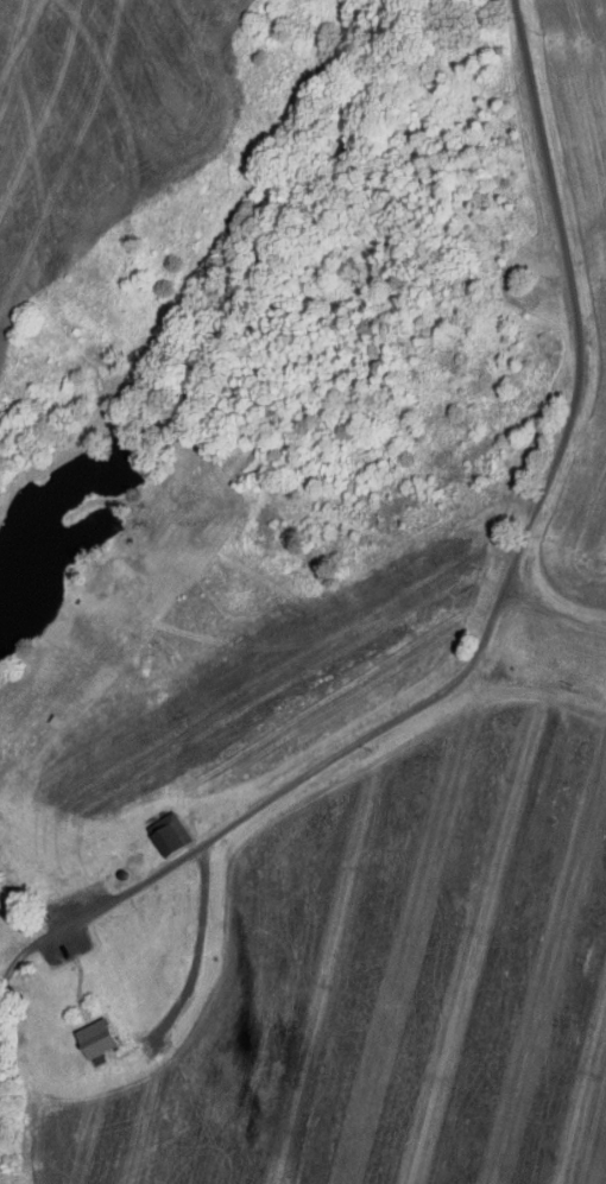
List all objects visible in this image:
road: (494, 584)
road: (550, 606)
building: (169, 831)
road: (198, 943)
road: (12, 962)
building: (96, 1036)

